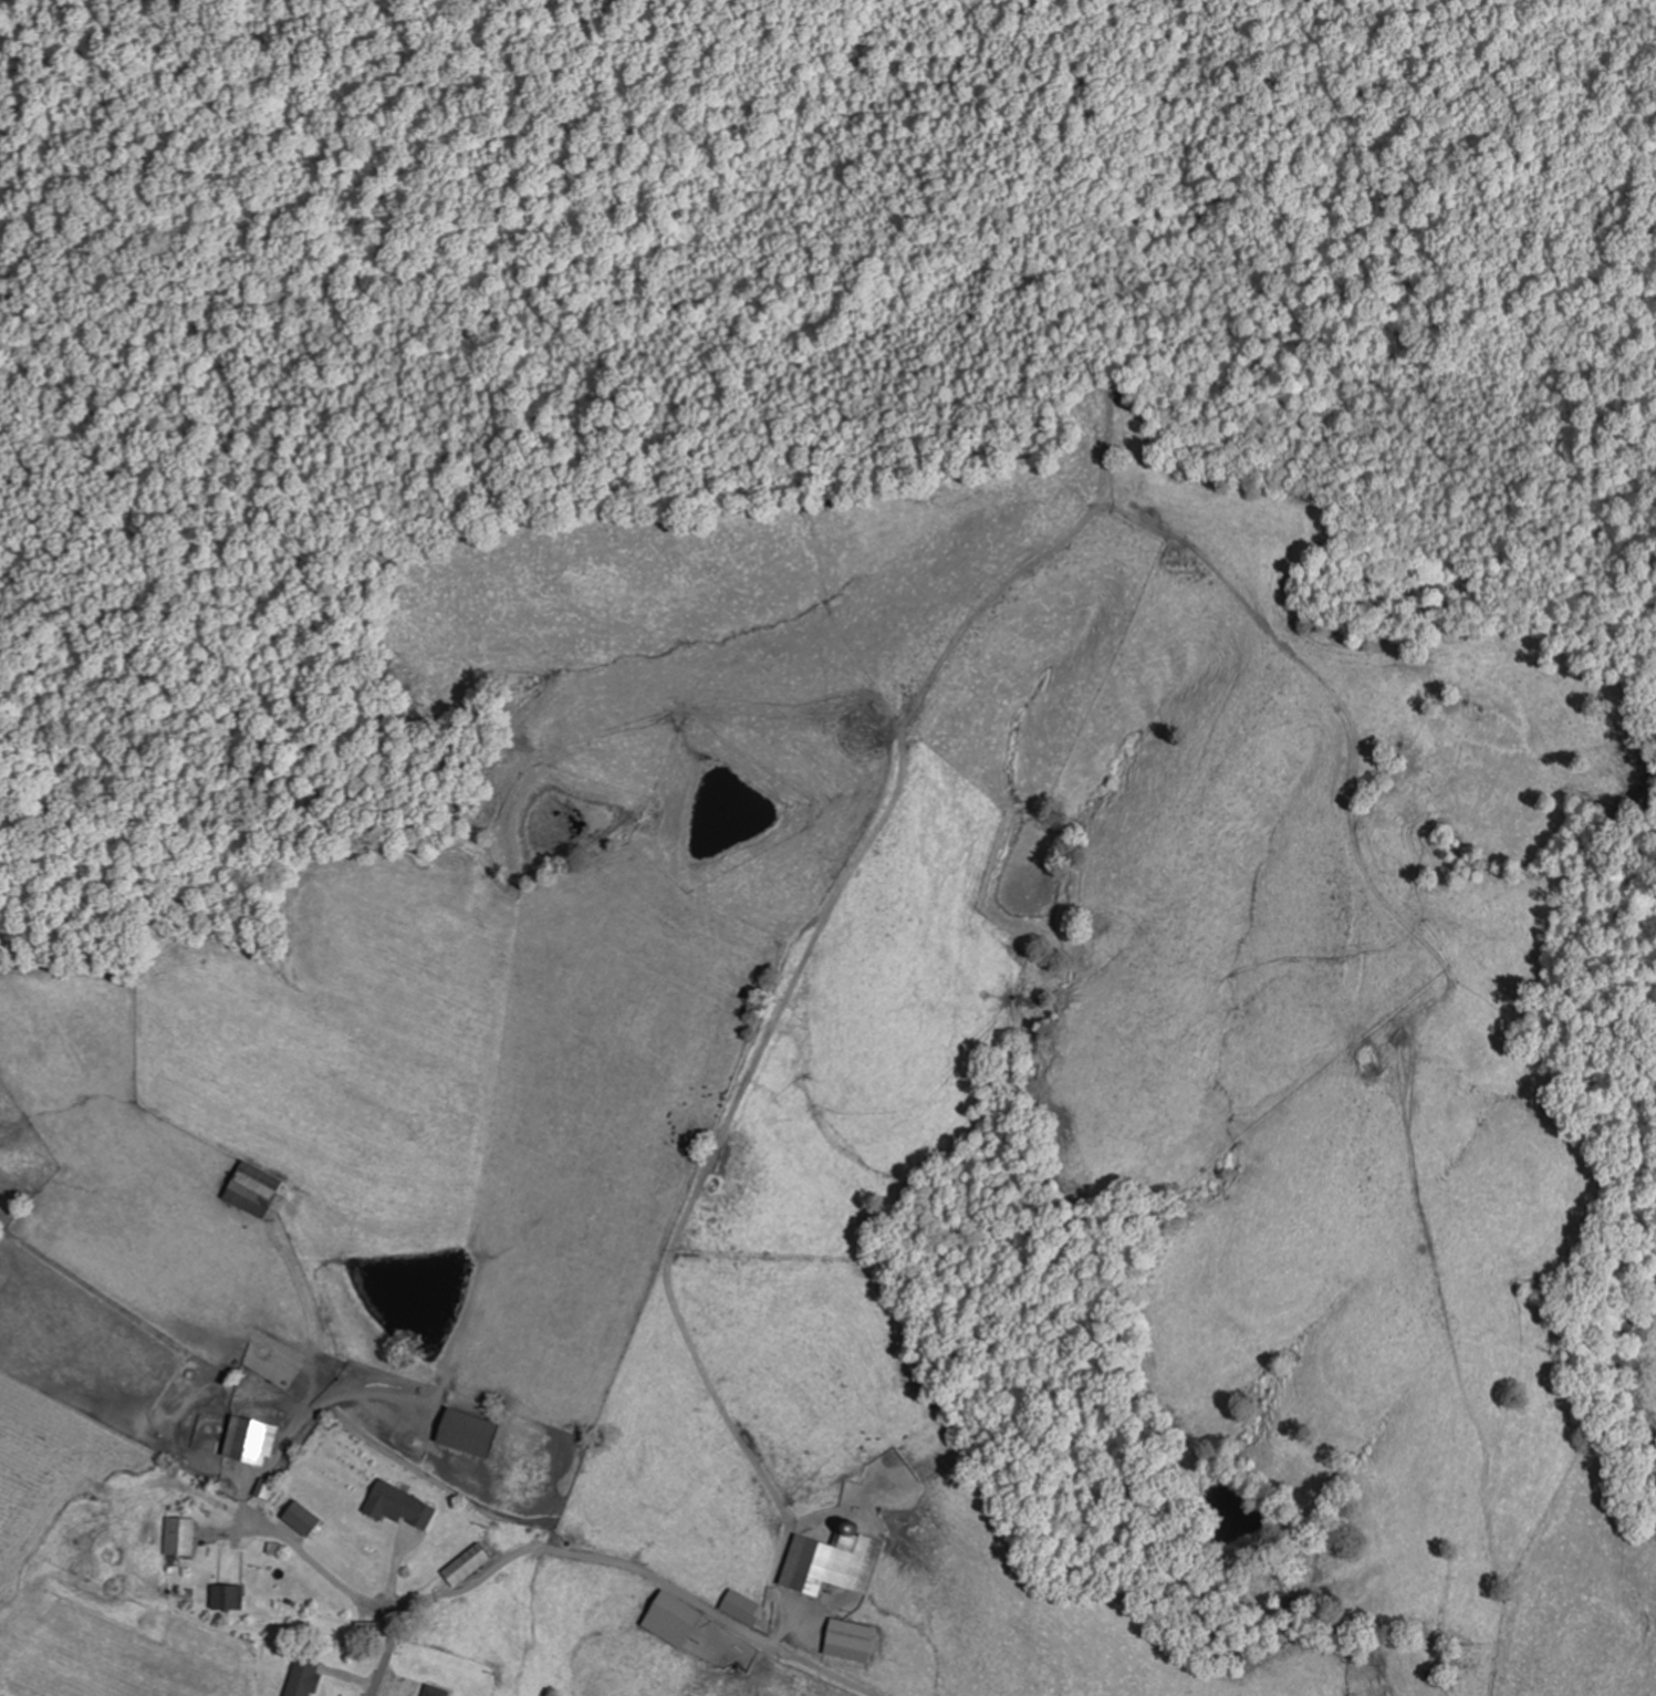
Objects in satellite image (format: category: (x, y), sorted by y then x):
building: (249, 1189)
building: (462, 1433)
building: (248, 1440)
building: (397, 1506)
building: (299, 1519)
building: (179, 1538)
building: (832, 1563)
building: (464, 1565)
road: (640, 1565)
building: (226, 1598)
road: (366, 1603)
building: (673, 1614)
building: (848, 1635)
building: (301, 1677)
building: (430, 1690)

